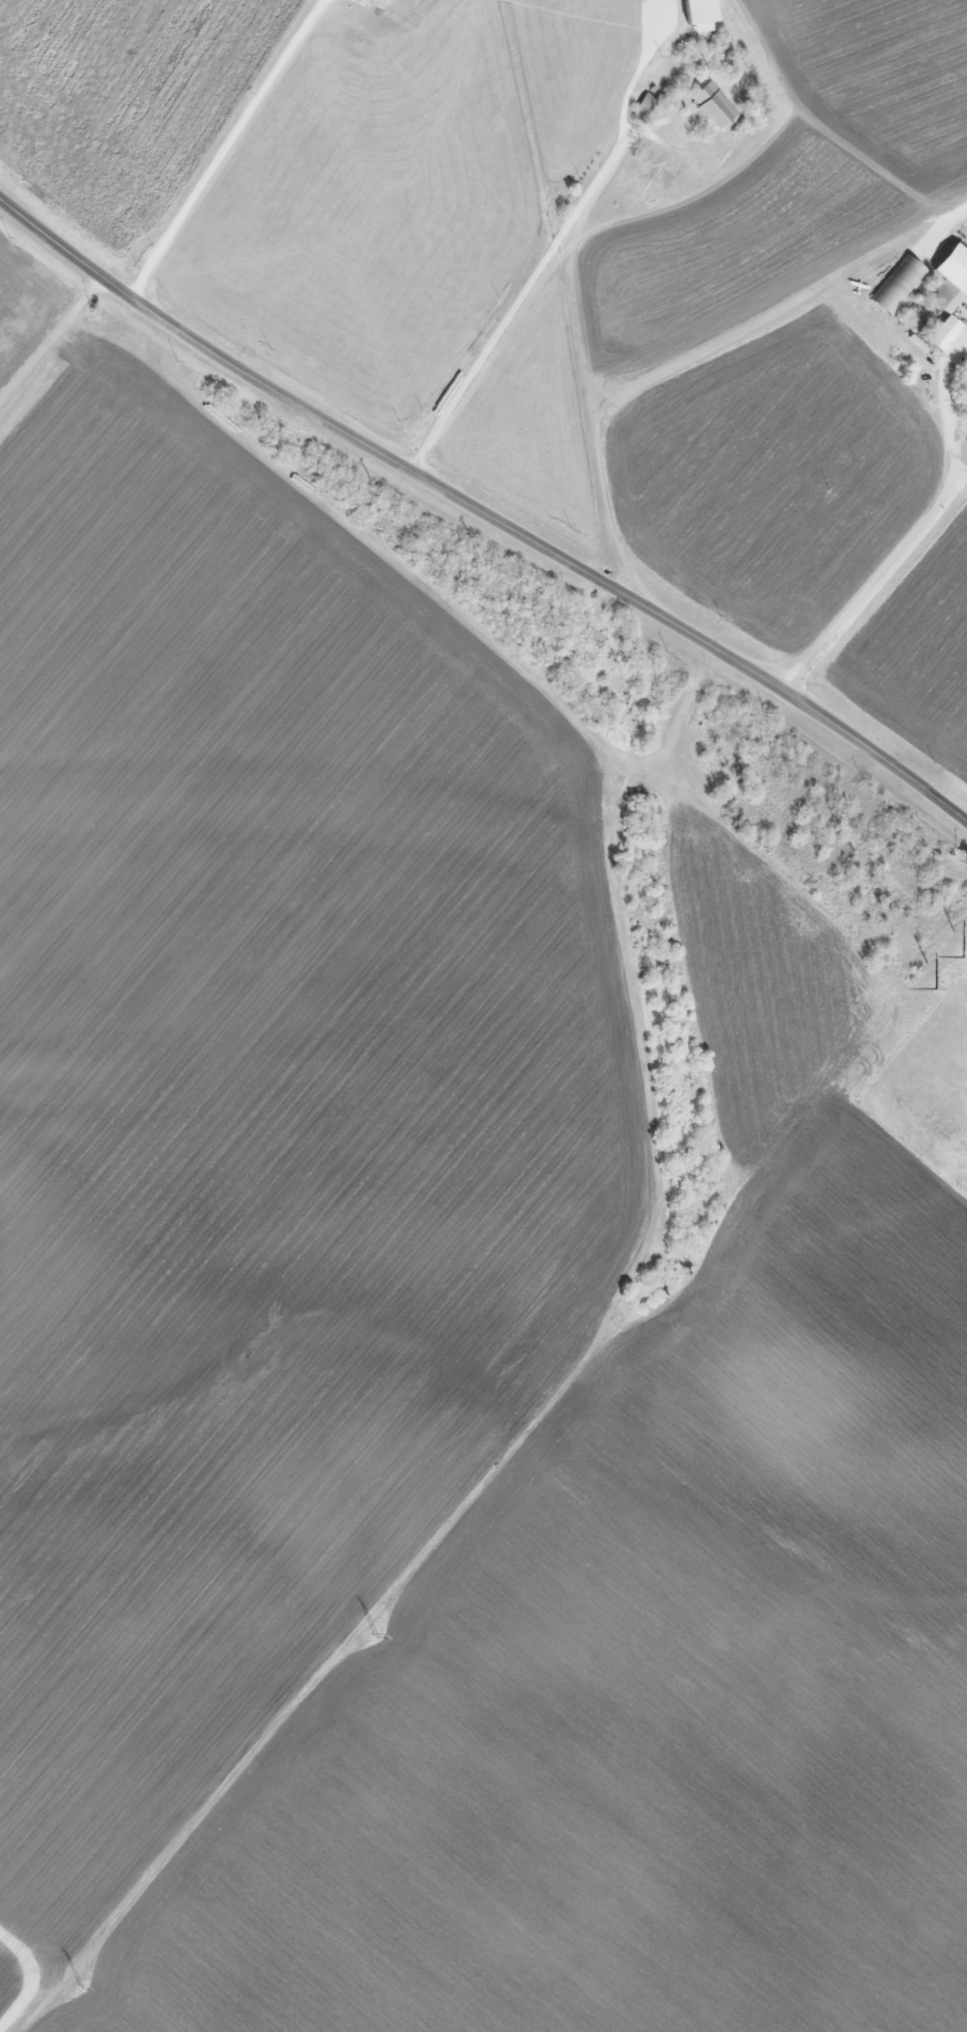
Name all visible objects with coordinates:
building: (712, 106)
road: (223, 148)
road: (645, 209)
building: (897, 284)
building: (949, 293)
road: (583, 323)
road: (698, 349)
building: (965, 379)
road: (948, 410)
building: (965, 416)
road: (482, 513)
road: (872, 582)
power tower: (964, 957)
power tower: (936, 989)
power tower: (689, 1276)
power tower: (375, 1633)
power tower: (81, 1987)

